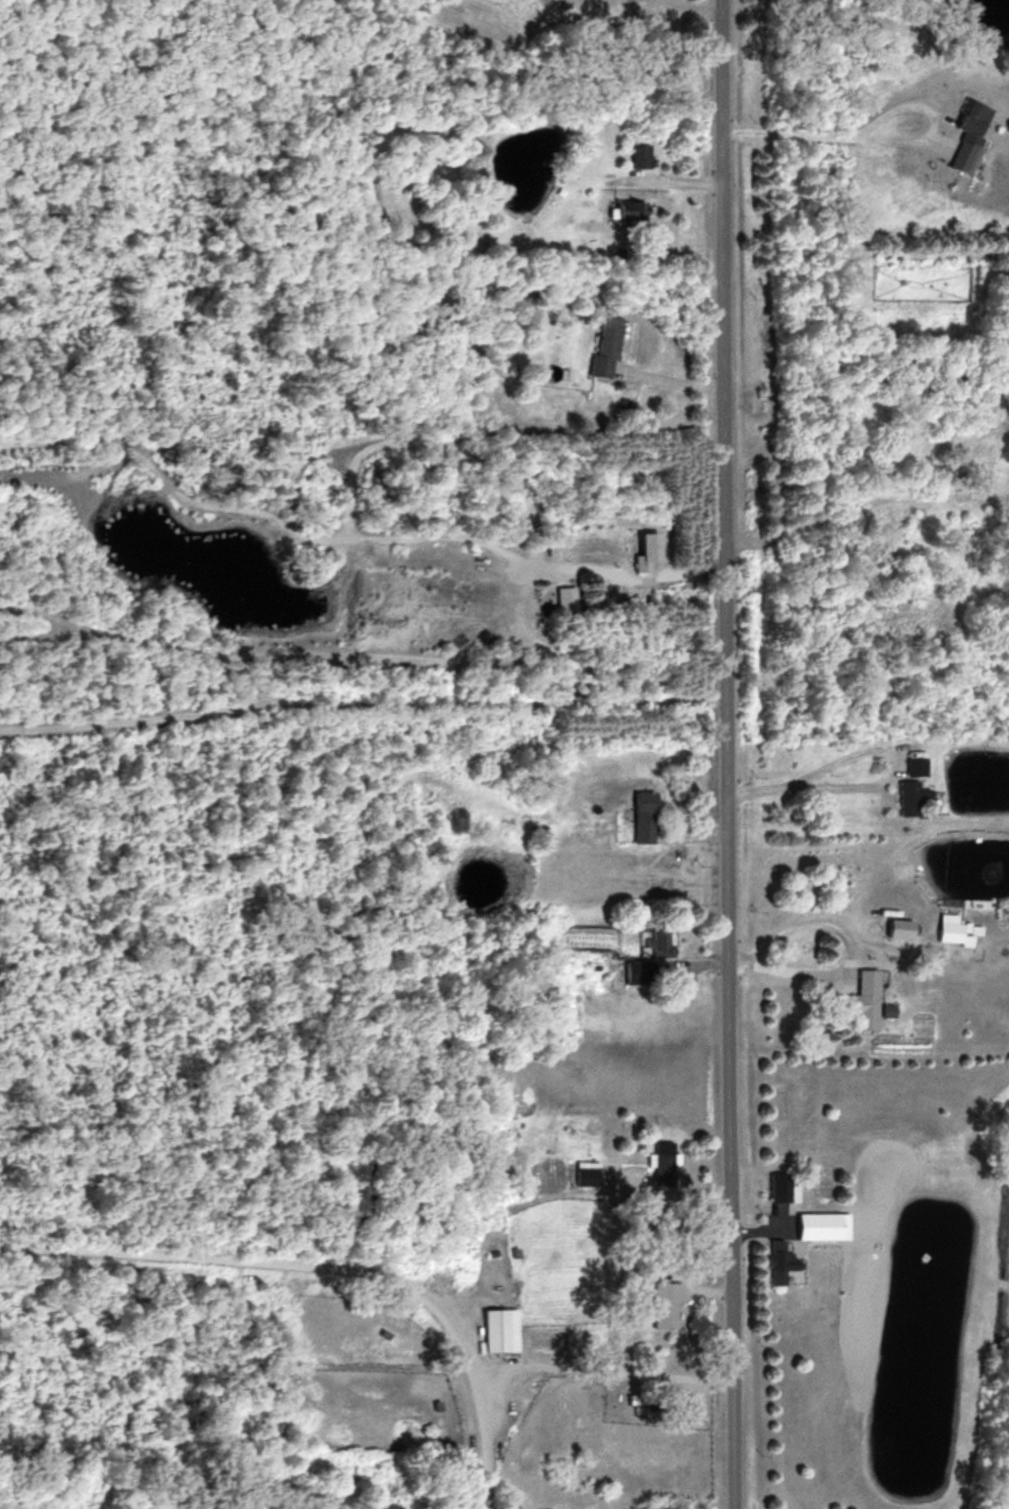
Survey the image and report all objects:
road: (681, 15)
building: (962, 133)
building: (642, 153)
building: (631, 207)
building: (599, 348)
building: (640, 549)
building: (561, 597)
road: (728, 754)
building: (911, 764)
road: (873, 784)
building: (907, 796)
building: (637, 815)
building: (894, 927)
building: (951, 929)
building: (857, 998)
building: (881, 1008)
building: (657, 1168)
building: (584, 1175)
building: (751, 1189)
building: (814, 1225)
road: (409, 1264)
building: (775, 1264)
building: (661, 1309)
building: (501, 1329)

